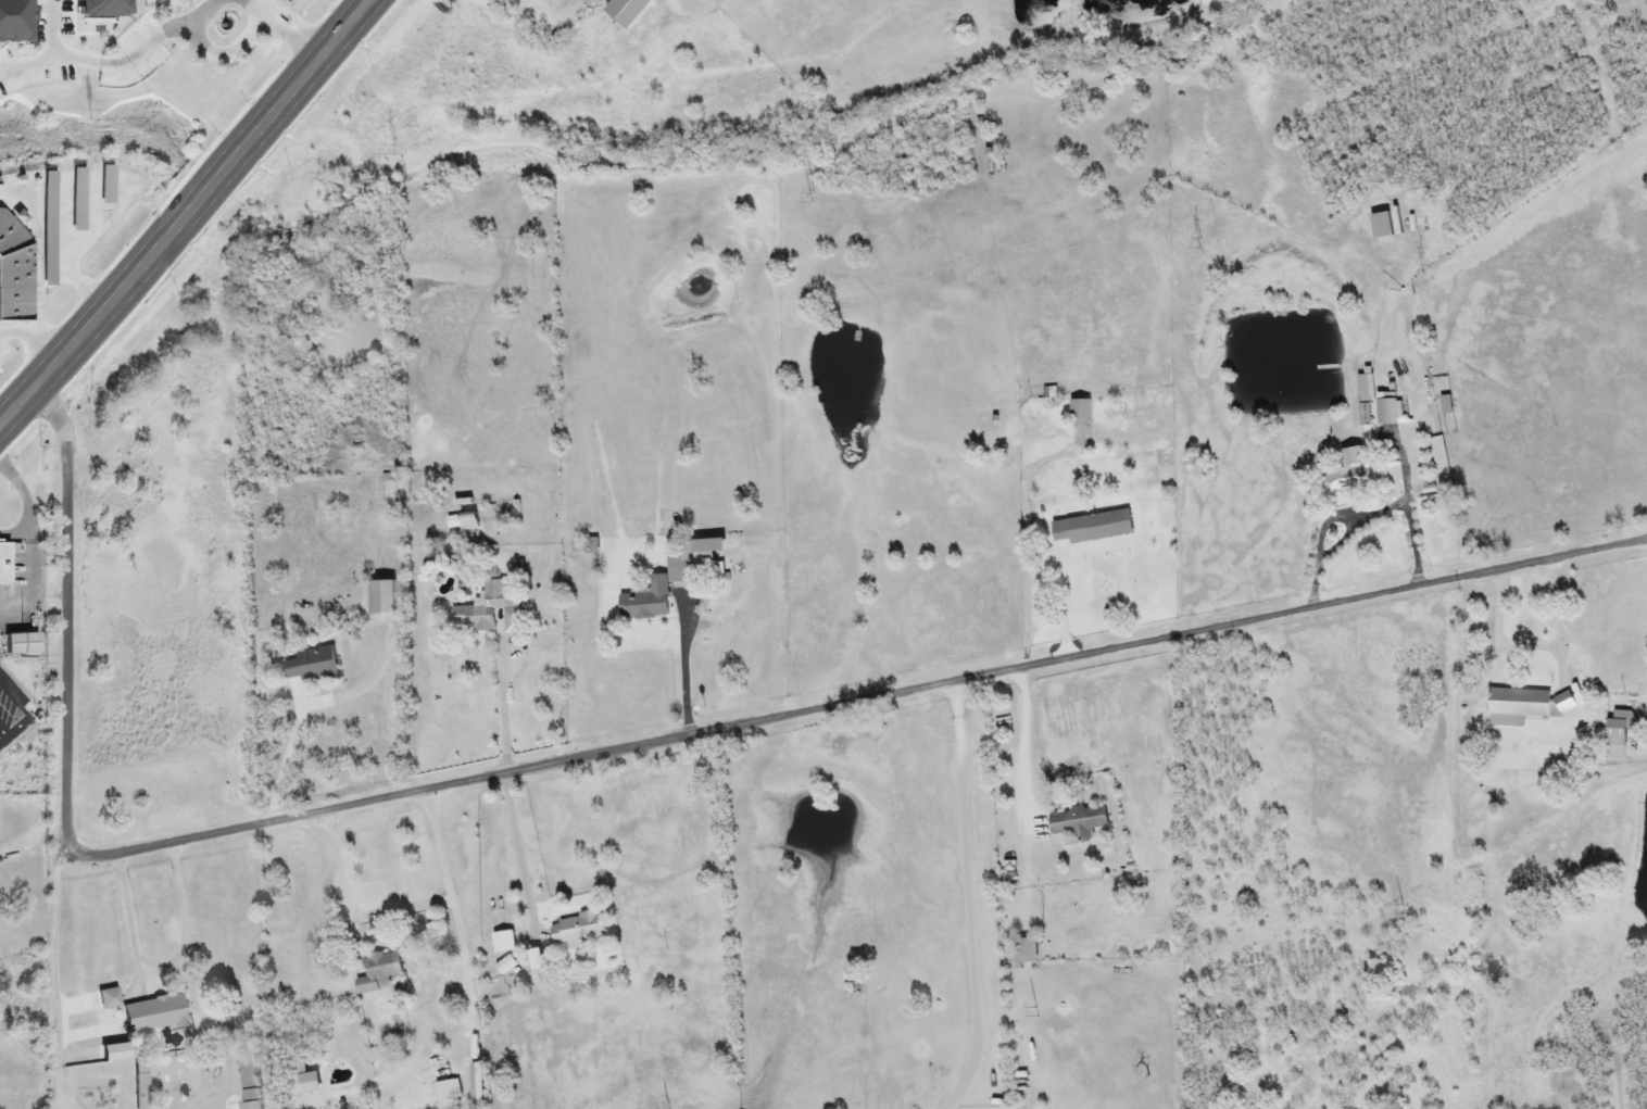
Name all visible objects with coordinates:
road: (695, 11)
building: (624, 12)
road: (549, 17)
road: (282, 26)
road: (148, 55)
road: (230, 59)
road: (58, 61)
power tower: (88, 111)
power tower: (395, 149)
power tower: (814, 199)
road: (186, 214)
building: (1380, 226)
power tower: (1202, 244)
power tower: (1424, 269)
road: (33, 337)
building: (1444, 405)
building: (1385, 411)
building: (1079, 414)
building: (1439, 463)
building: (1349, 468)
building: (1090, 529)
road: (1027, 532)
building: (692, 560)
building: (7, 565)
building: (384, 598)
road: (1066, 604)
building: (15, 643)
road: (1537, 648)
road: (686, 667)
building: (1526, 706)
road: (505, 713)
building: (1618, 734)
road: (1028, 746)
road: (628, 747)
road: (281, 764)
building: (1077, 822)
road: (515, 858)
power tower: (1403, 910)
road: (404, 913)
building: (577, 929)
building: (504, 943)
building: (1023, 952)
road: (163, 965)
road: (468, 971)
road: (58, 975)
power tower: (1038, 1012)
road: (468, 1073)
road: (210, 1107)

